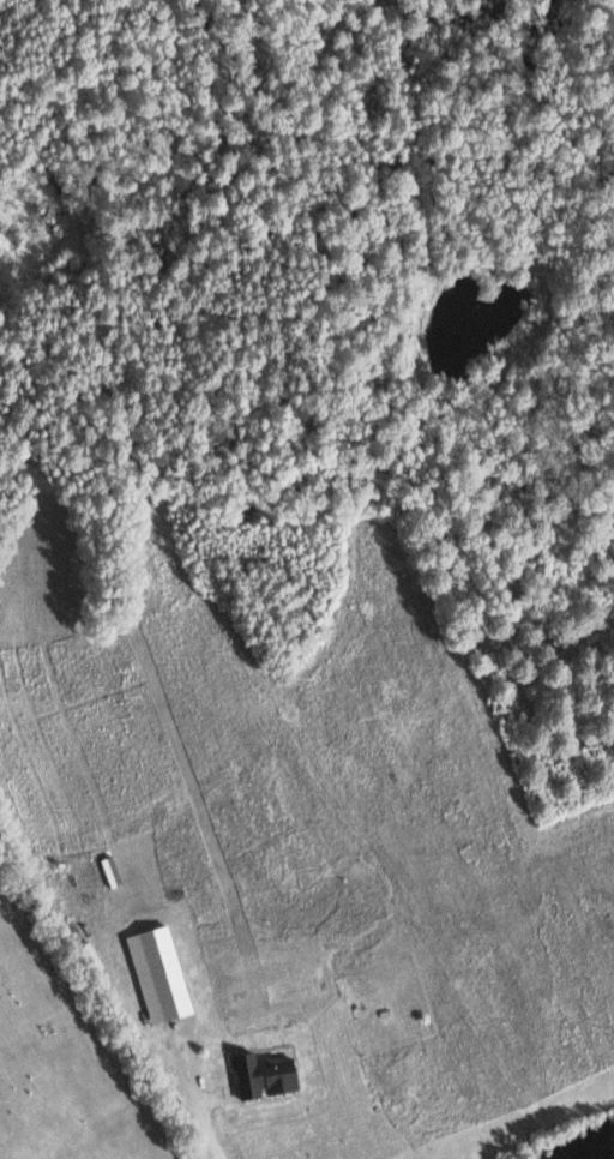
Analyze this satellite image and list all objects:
building: (163, 987)
building: (263, 1074)
road: (211, 1128)

